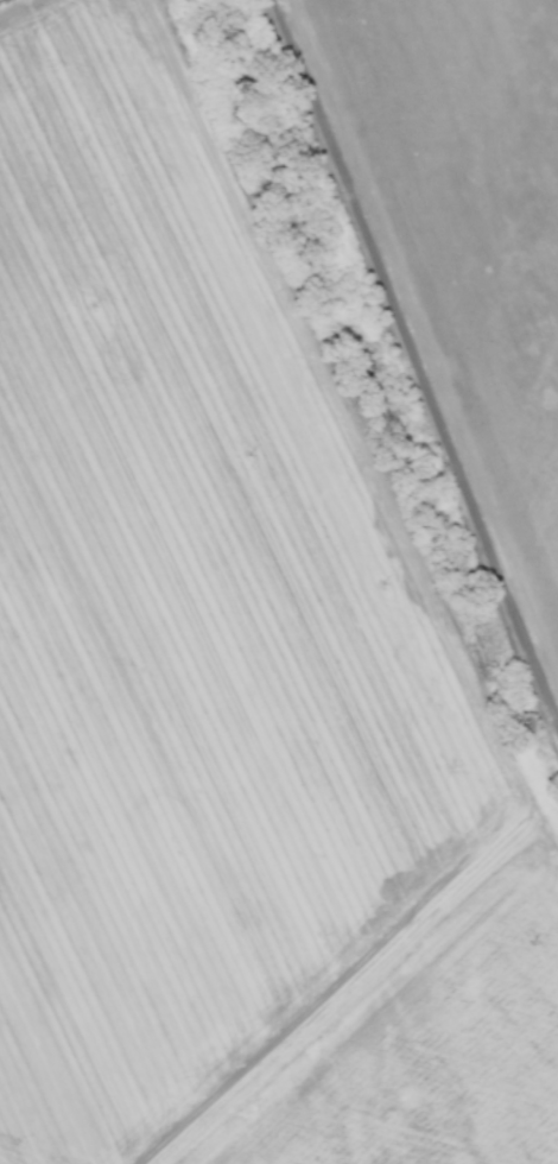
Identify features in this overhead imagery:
crop: (476, 208)
road: (408, 368)

